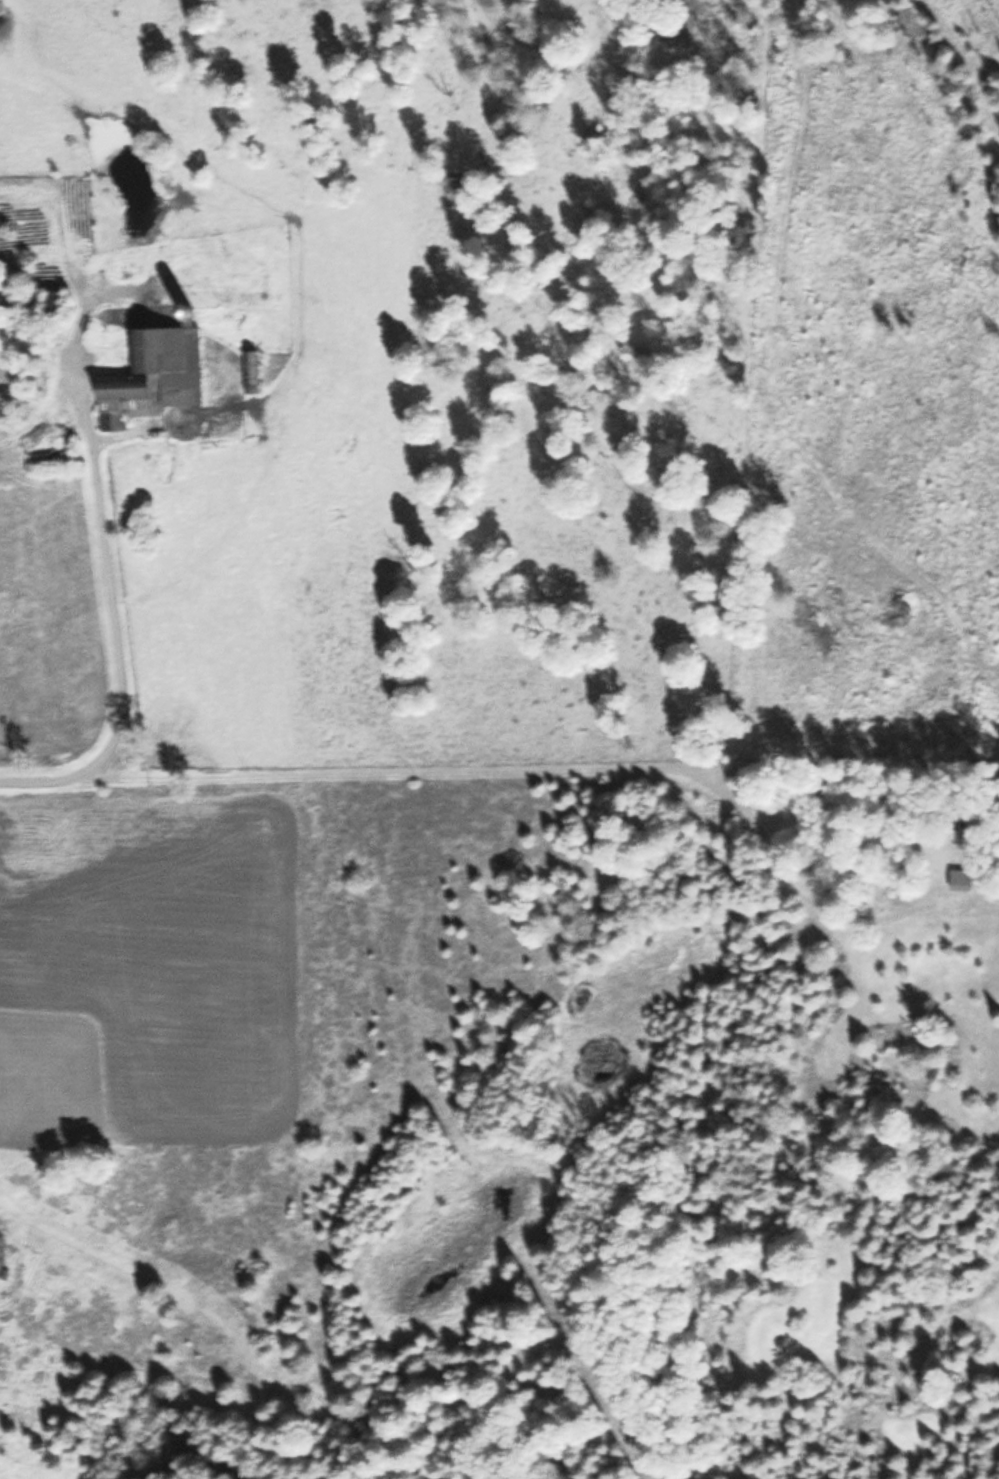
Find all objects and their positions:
building: (57, 302)
building: (253, 370)
building: (158, 376)
building: (56, 459)
road: (113, 625)
building: (967, 880)

